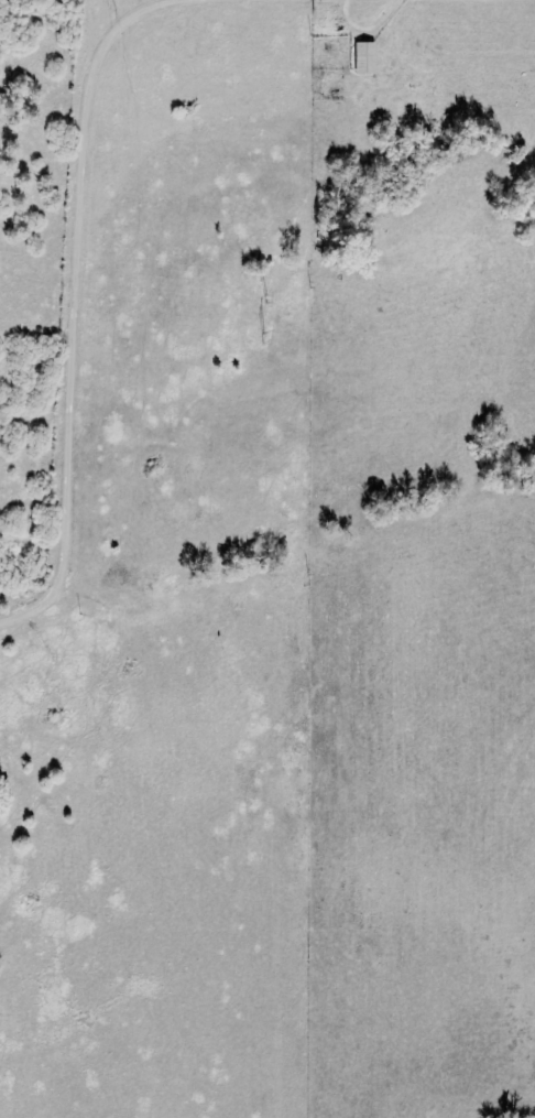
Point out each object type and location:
building: (364, 57)
road: (79, 287)
power tower: (264, 339)
road: (15, 616)

